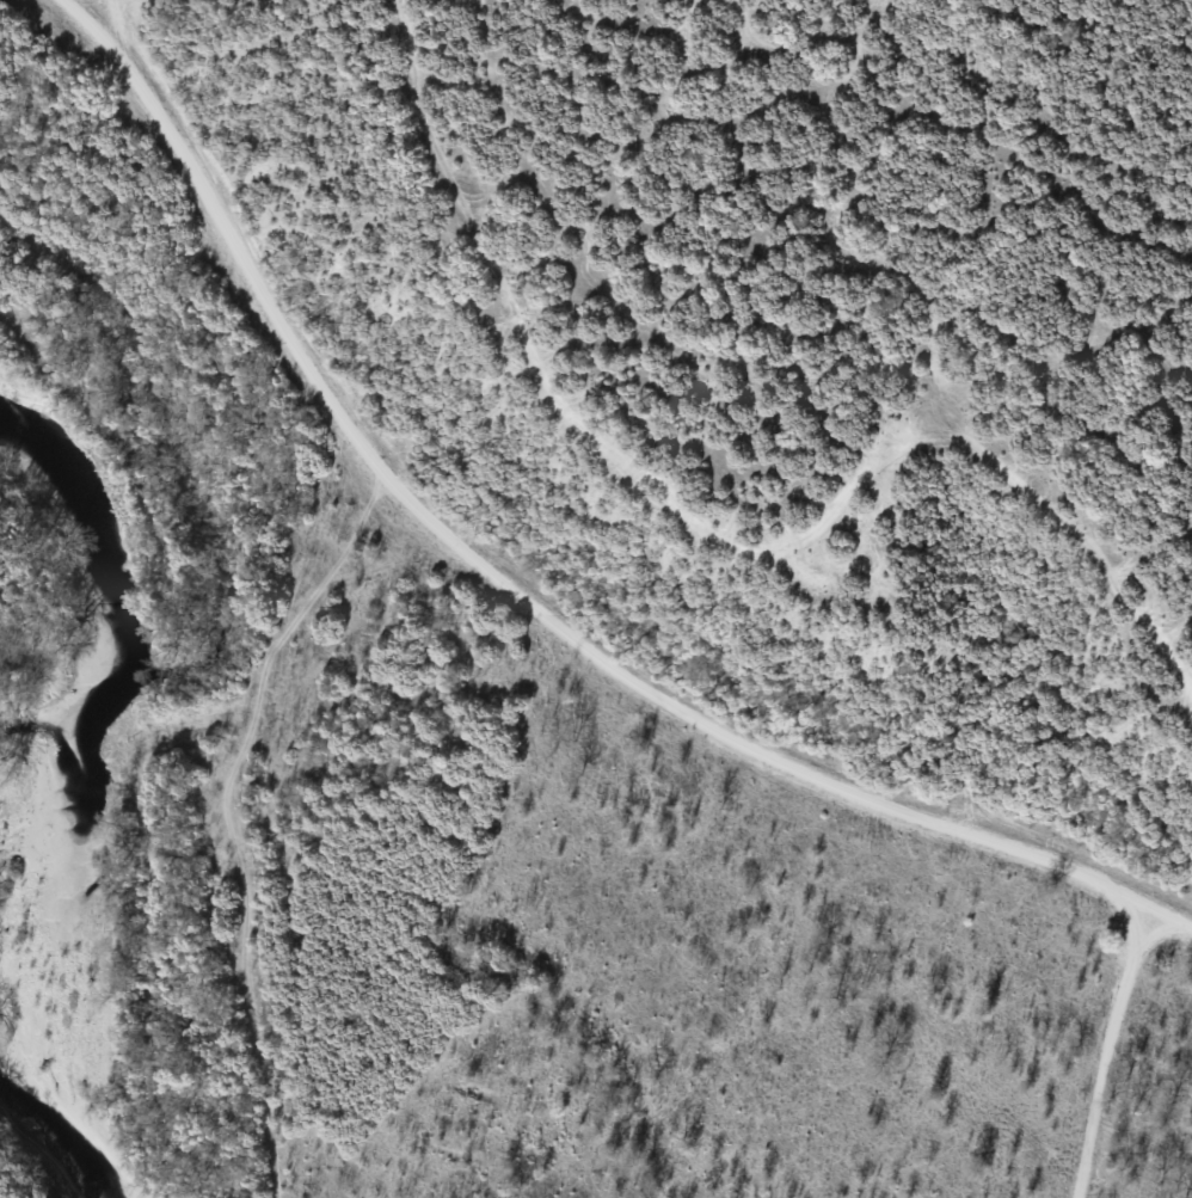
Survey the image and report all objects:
river: (122, 591)
road: (509, 596)
road: (1098, 1048)
river: (54, 1137)

